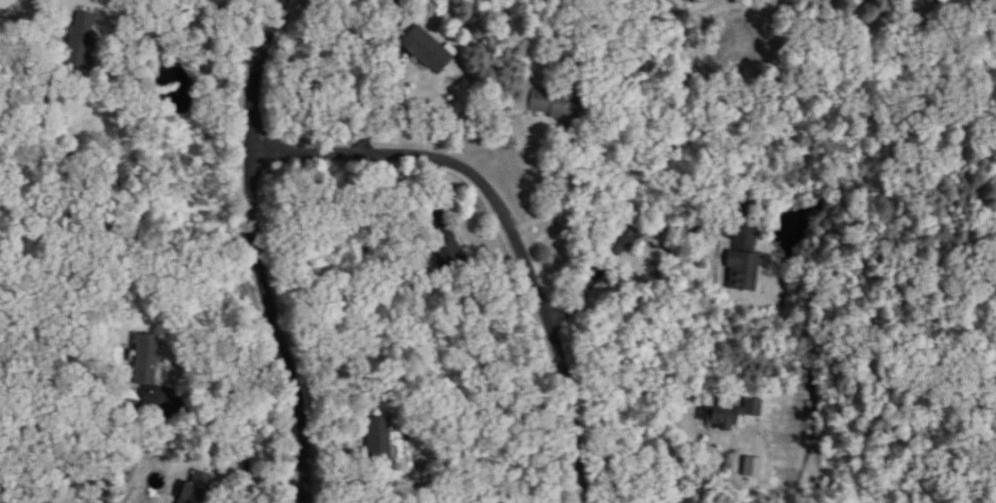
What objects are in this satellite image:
road: (396, 21)
building: (79, 41)
road: (180, 41)
building: (426, 50)
building: (554, 103)
road: (629, 170)
road: (629, 236)
road: (254, 251)
building: (449, 252)
building: (740, 271)
road: (547, 323)
building: (145, 359)
road: (220, 382)
building: (722, 419)
building: (378, 439)
road: (721, 473)
road: (236, 478)
building: (194, 489)

